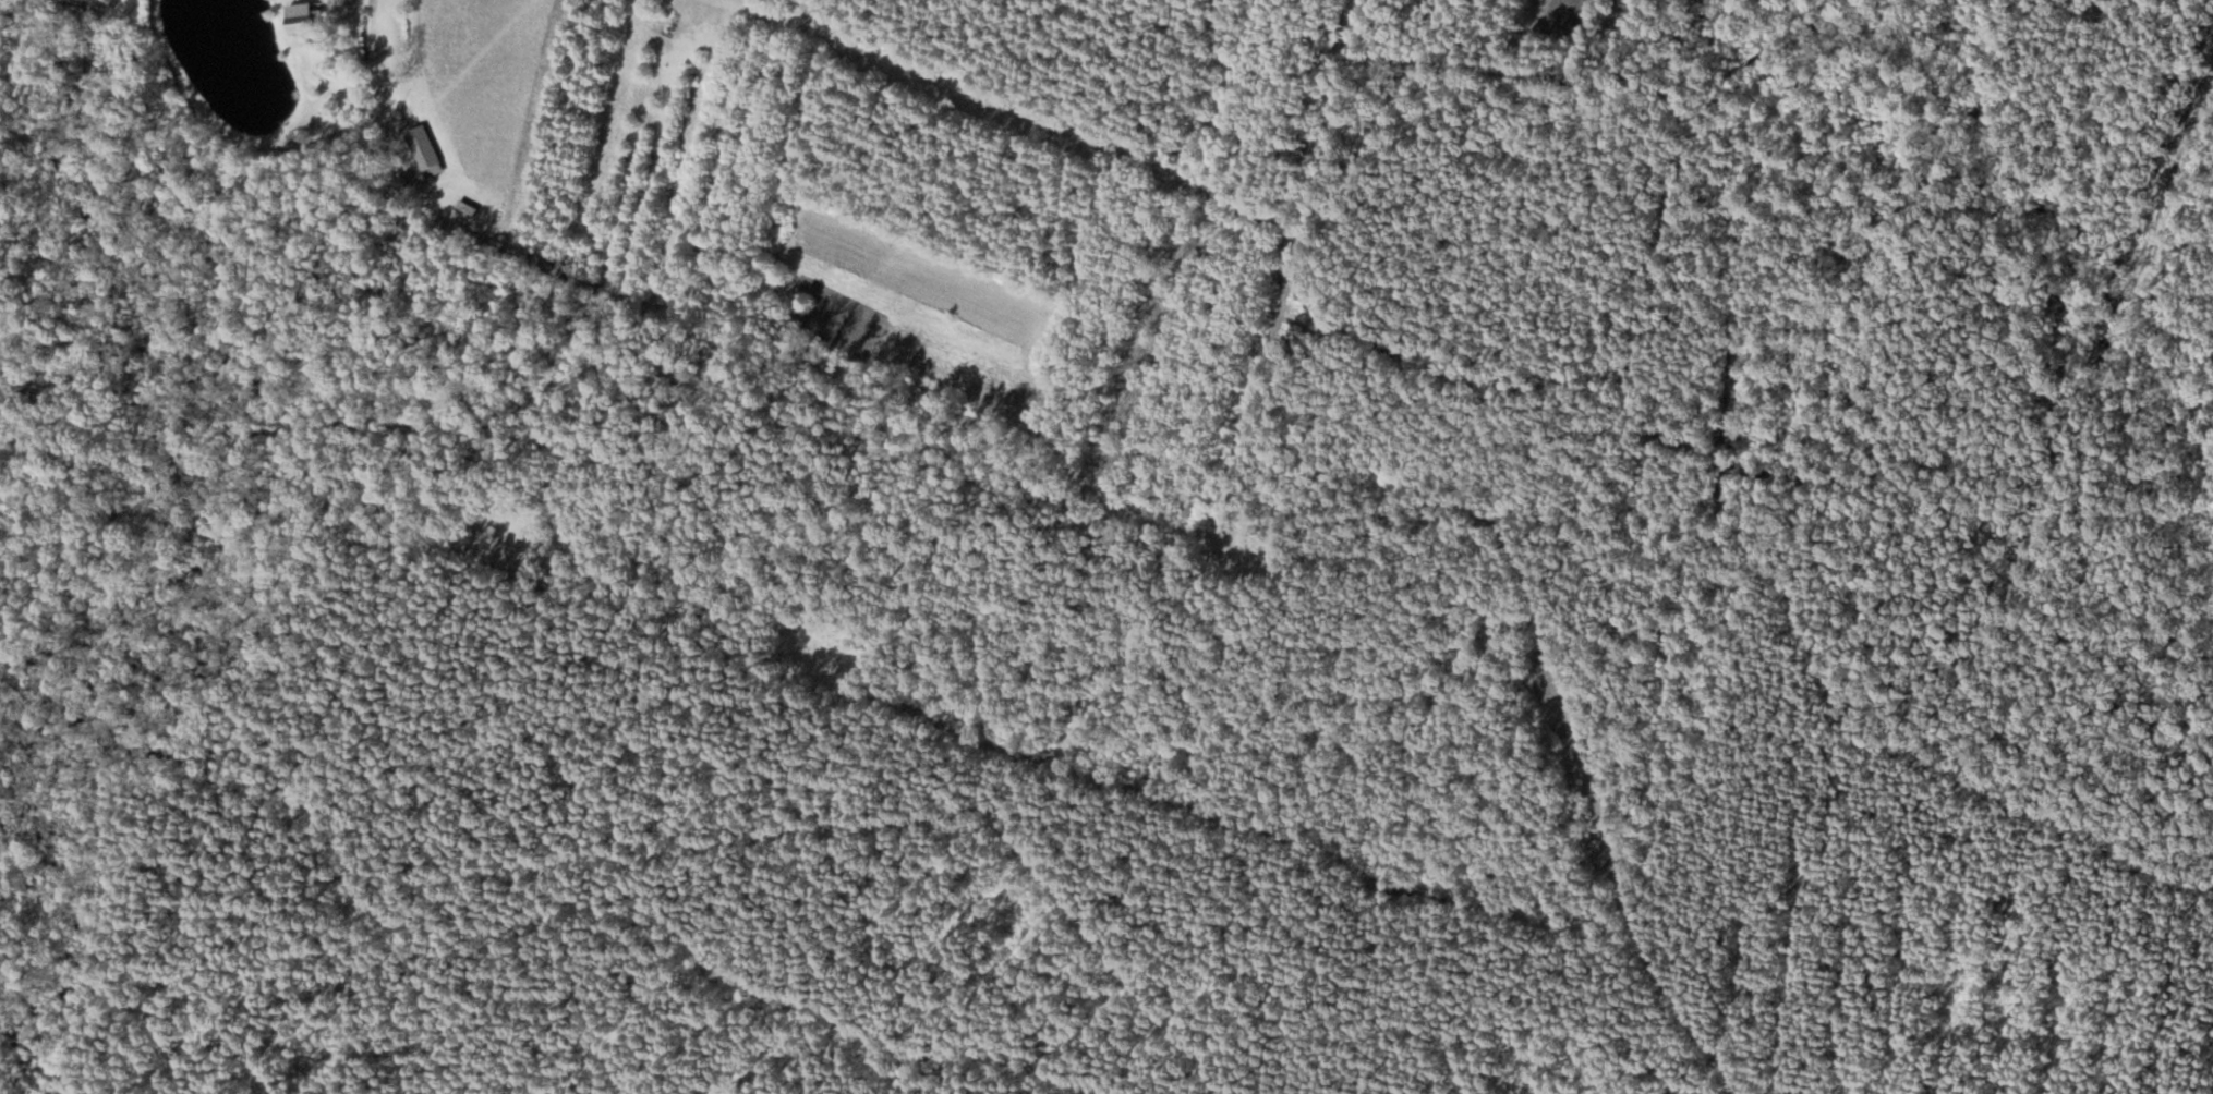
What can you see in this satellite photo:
building: (301, 17)
building: (424, 149)

